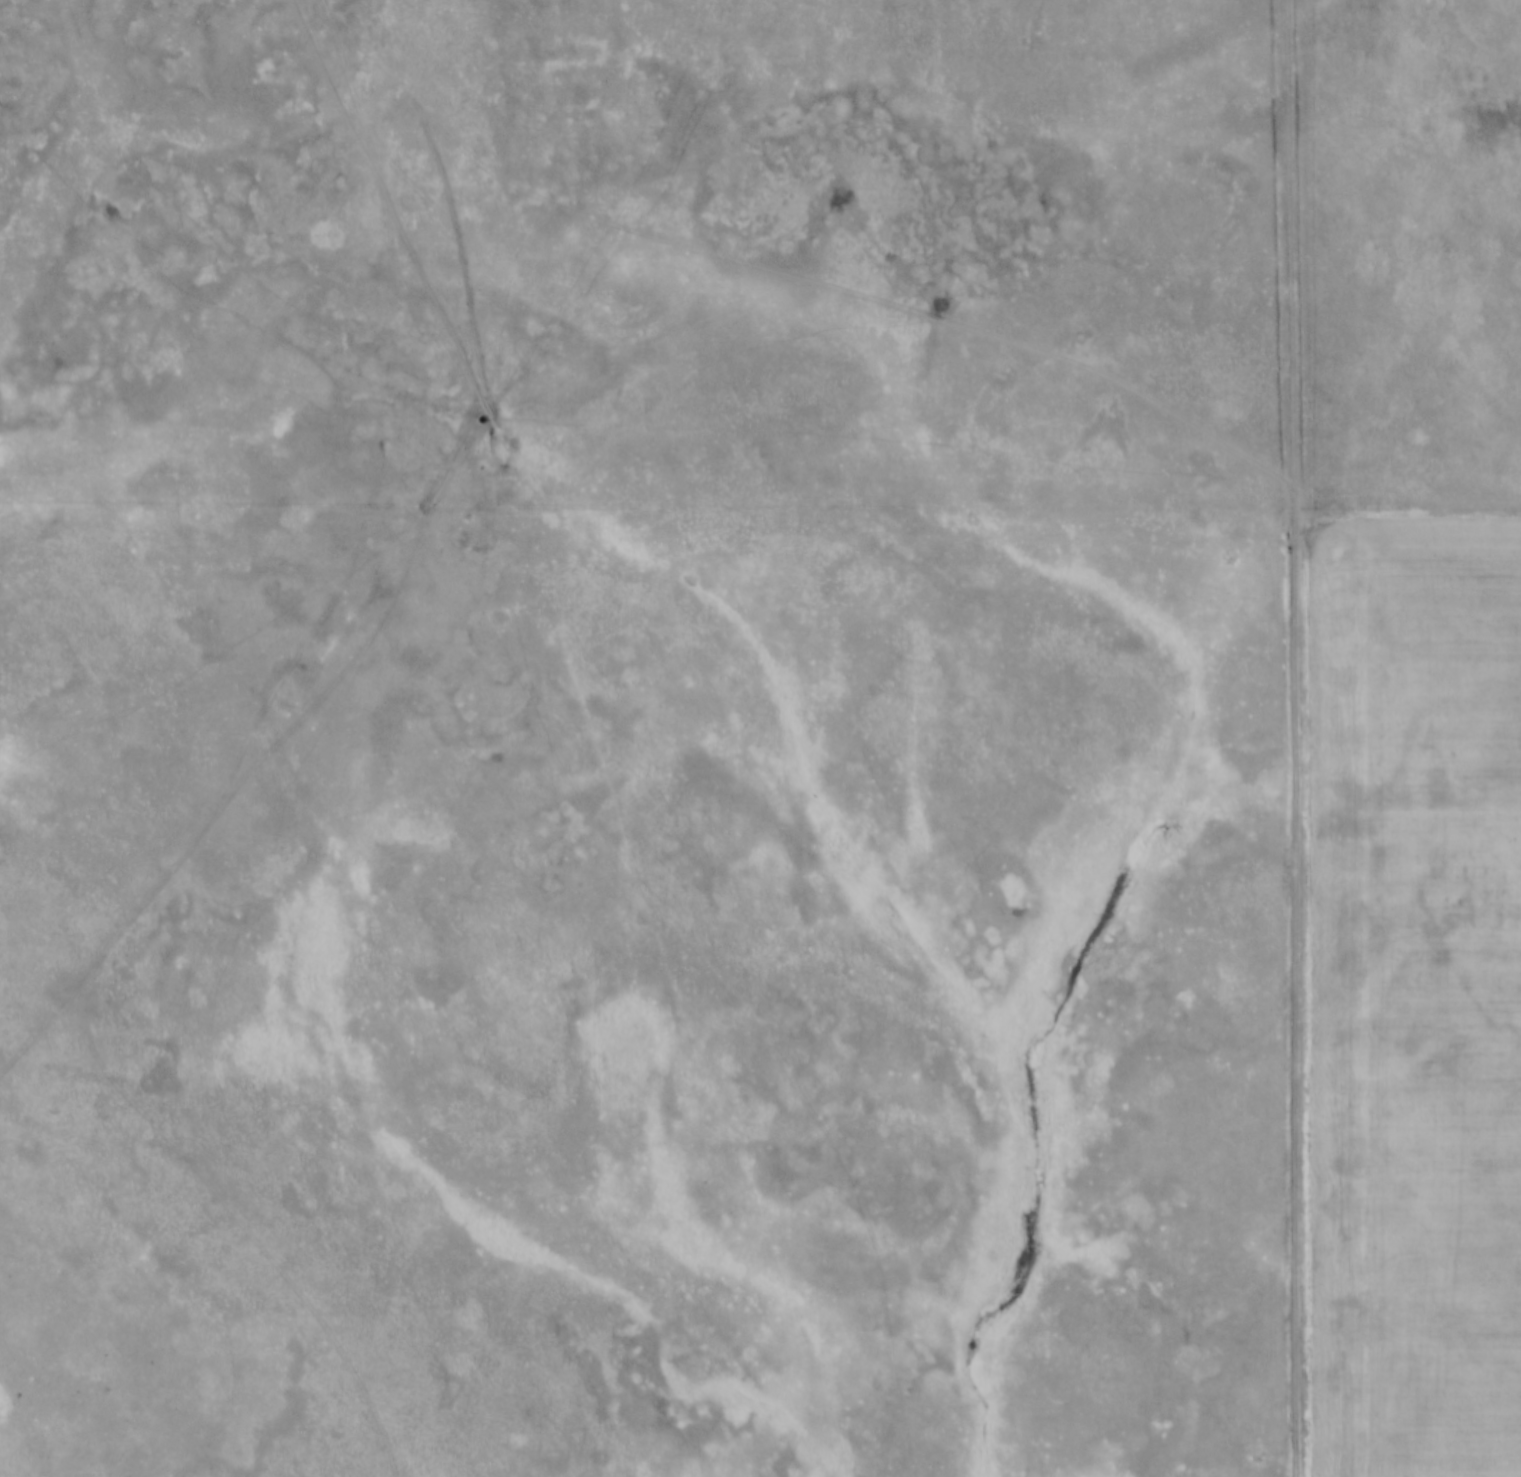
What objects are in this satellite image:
road: (560, 433)
road: (385, 440)
road: (1300, 738)

